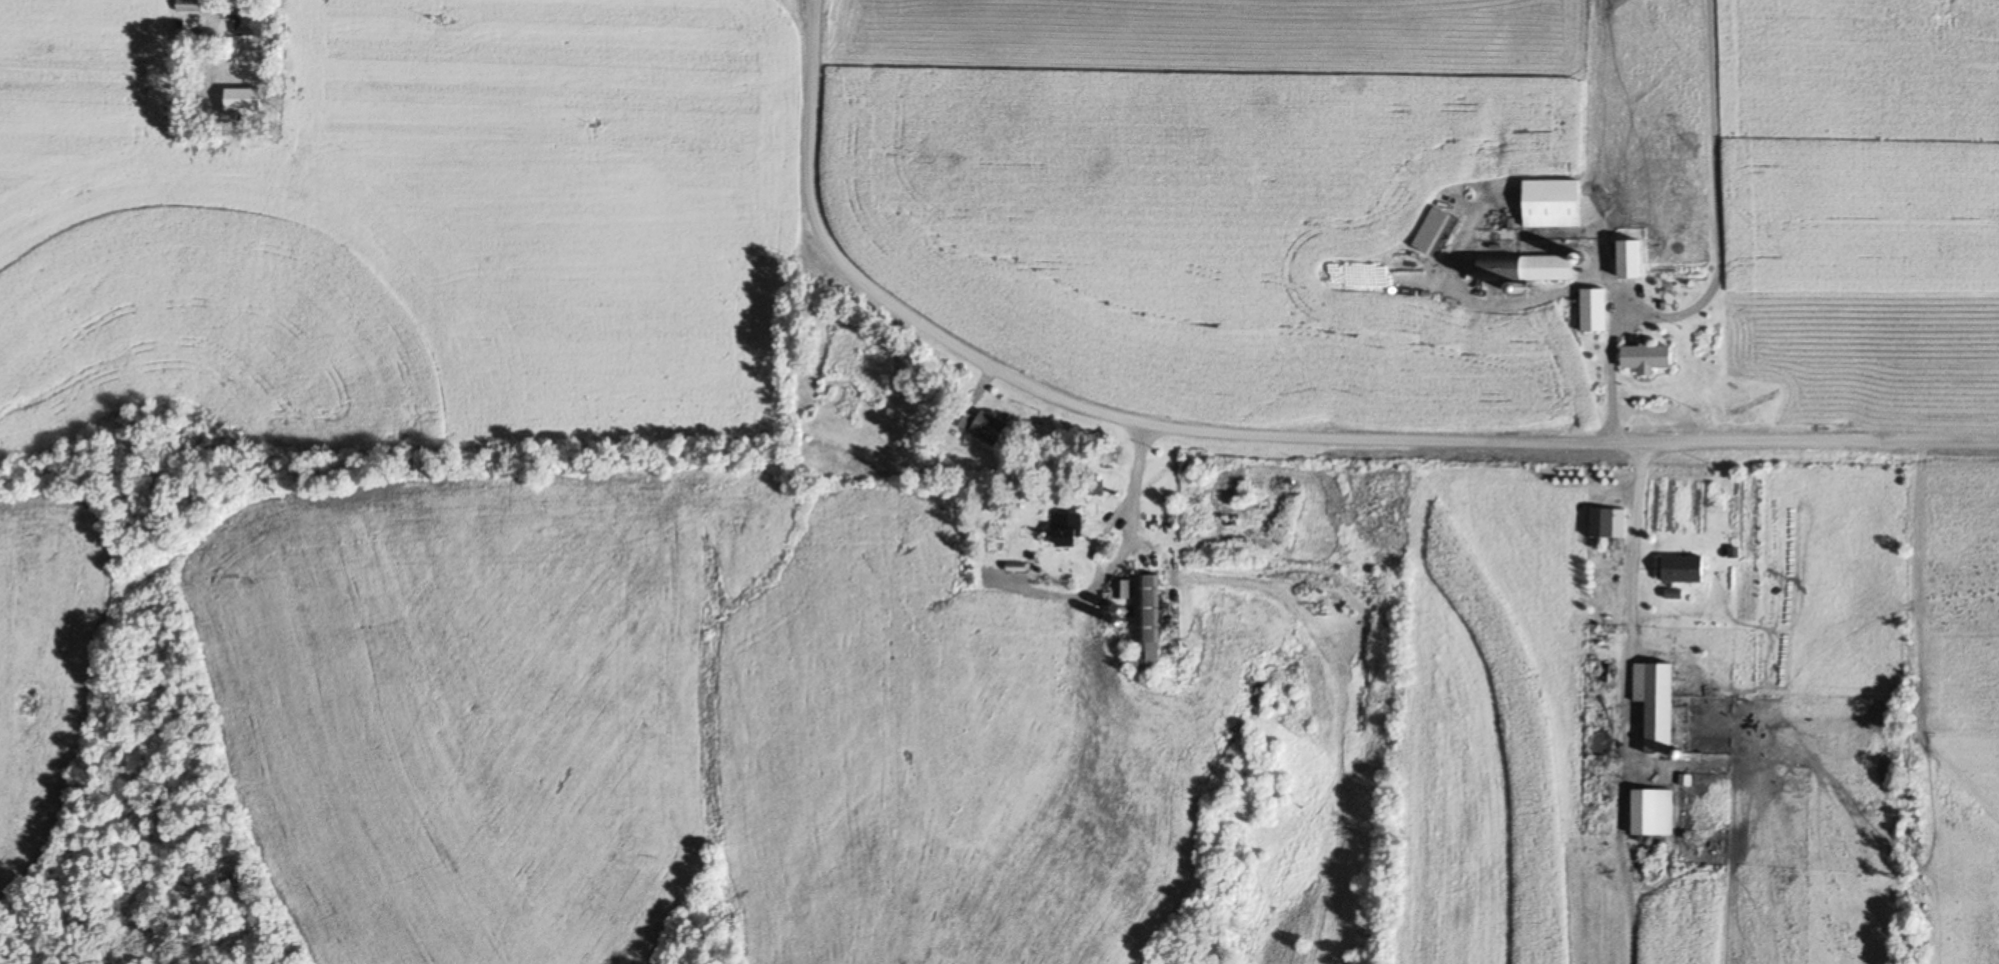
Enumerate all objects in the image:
building: (190, 6)
building: (249, 24)
building: (241, 99)
building: (1551, 204)
building: (1431, 230)
road: (1717, 258)
building: (1630, 259)
building: (1525, 269)
building: (1593, 311)
building: (1647, 358)
building: (962, 420)
building: (988, 429)
road: (1261, 435)
building: (1092, 486)
building: (1602, 523)
building: (1068, 530)
building: (1684, 570)
building: (1147, 622)
building: (1655, 705)

